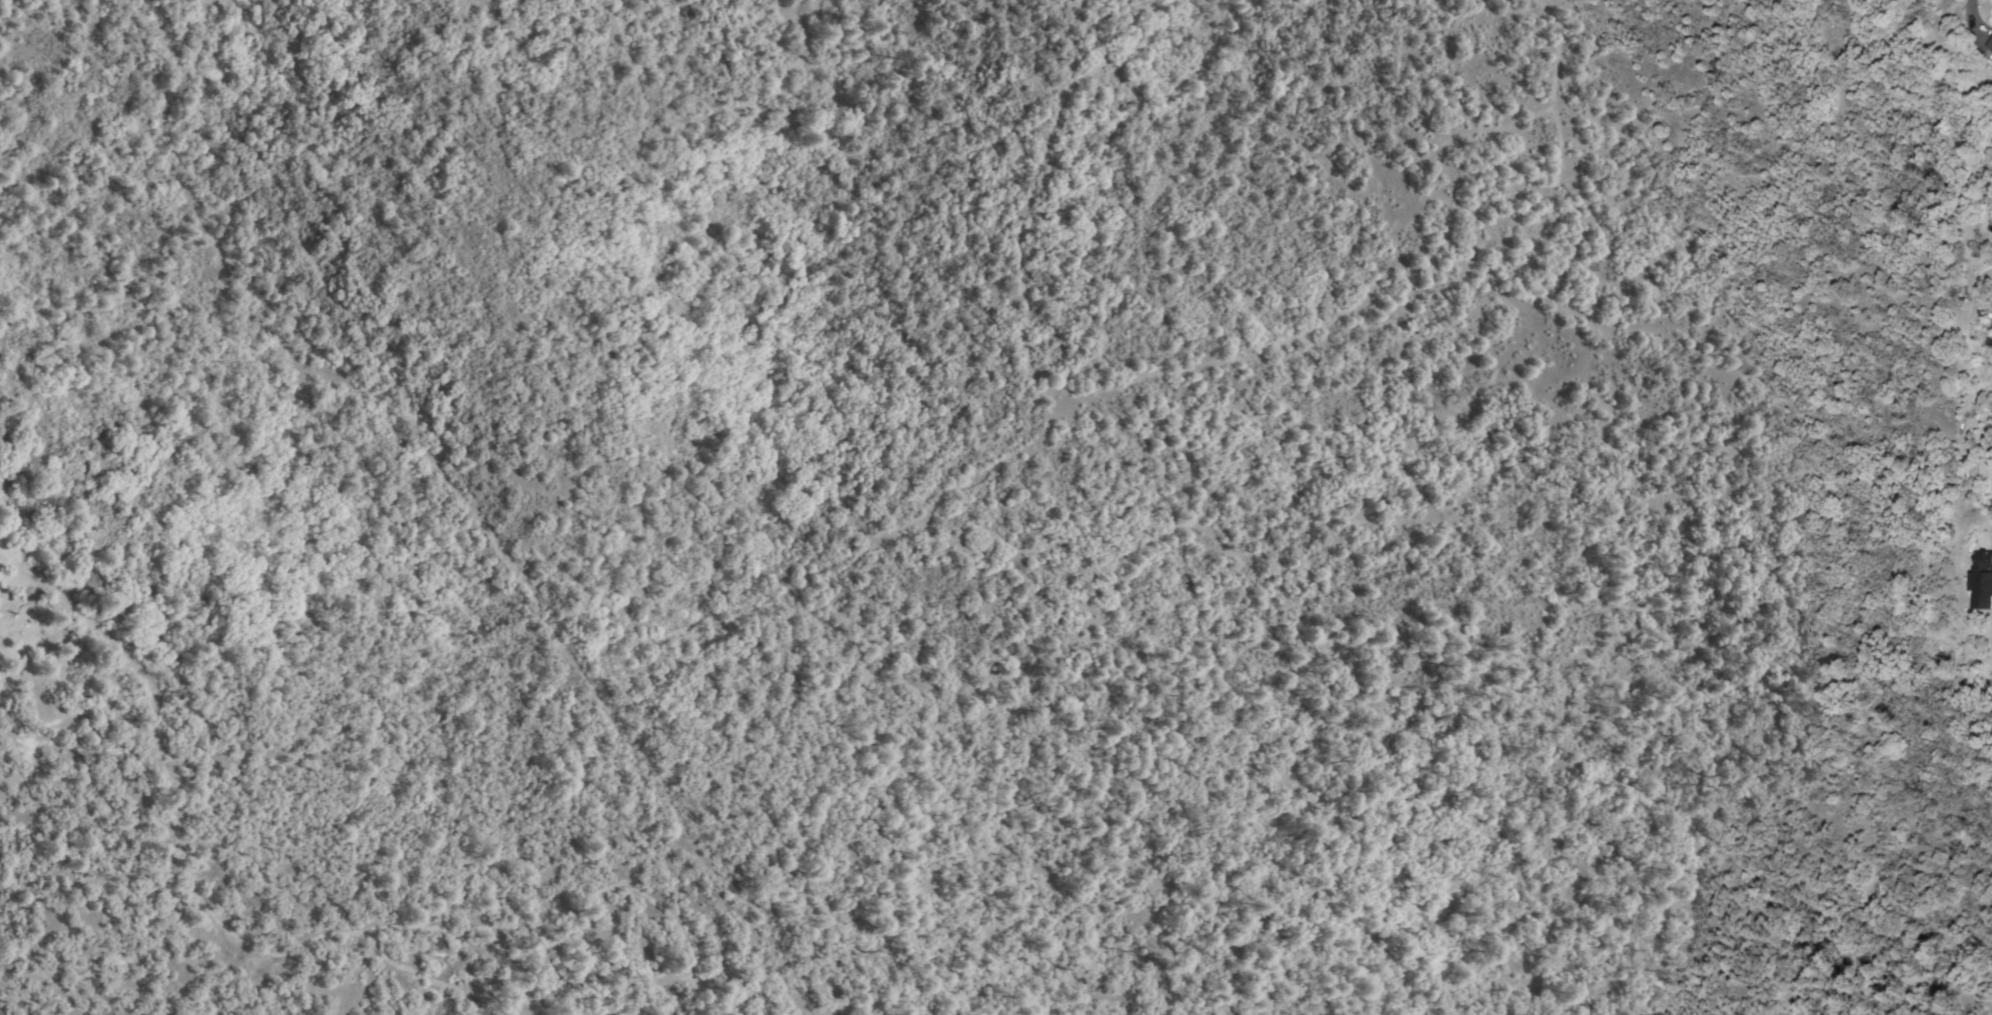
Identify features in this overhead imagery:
building: (1991, 46)
building: (1983, 580)

